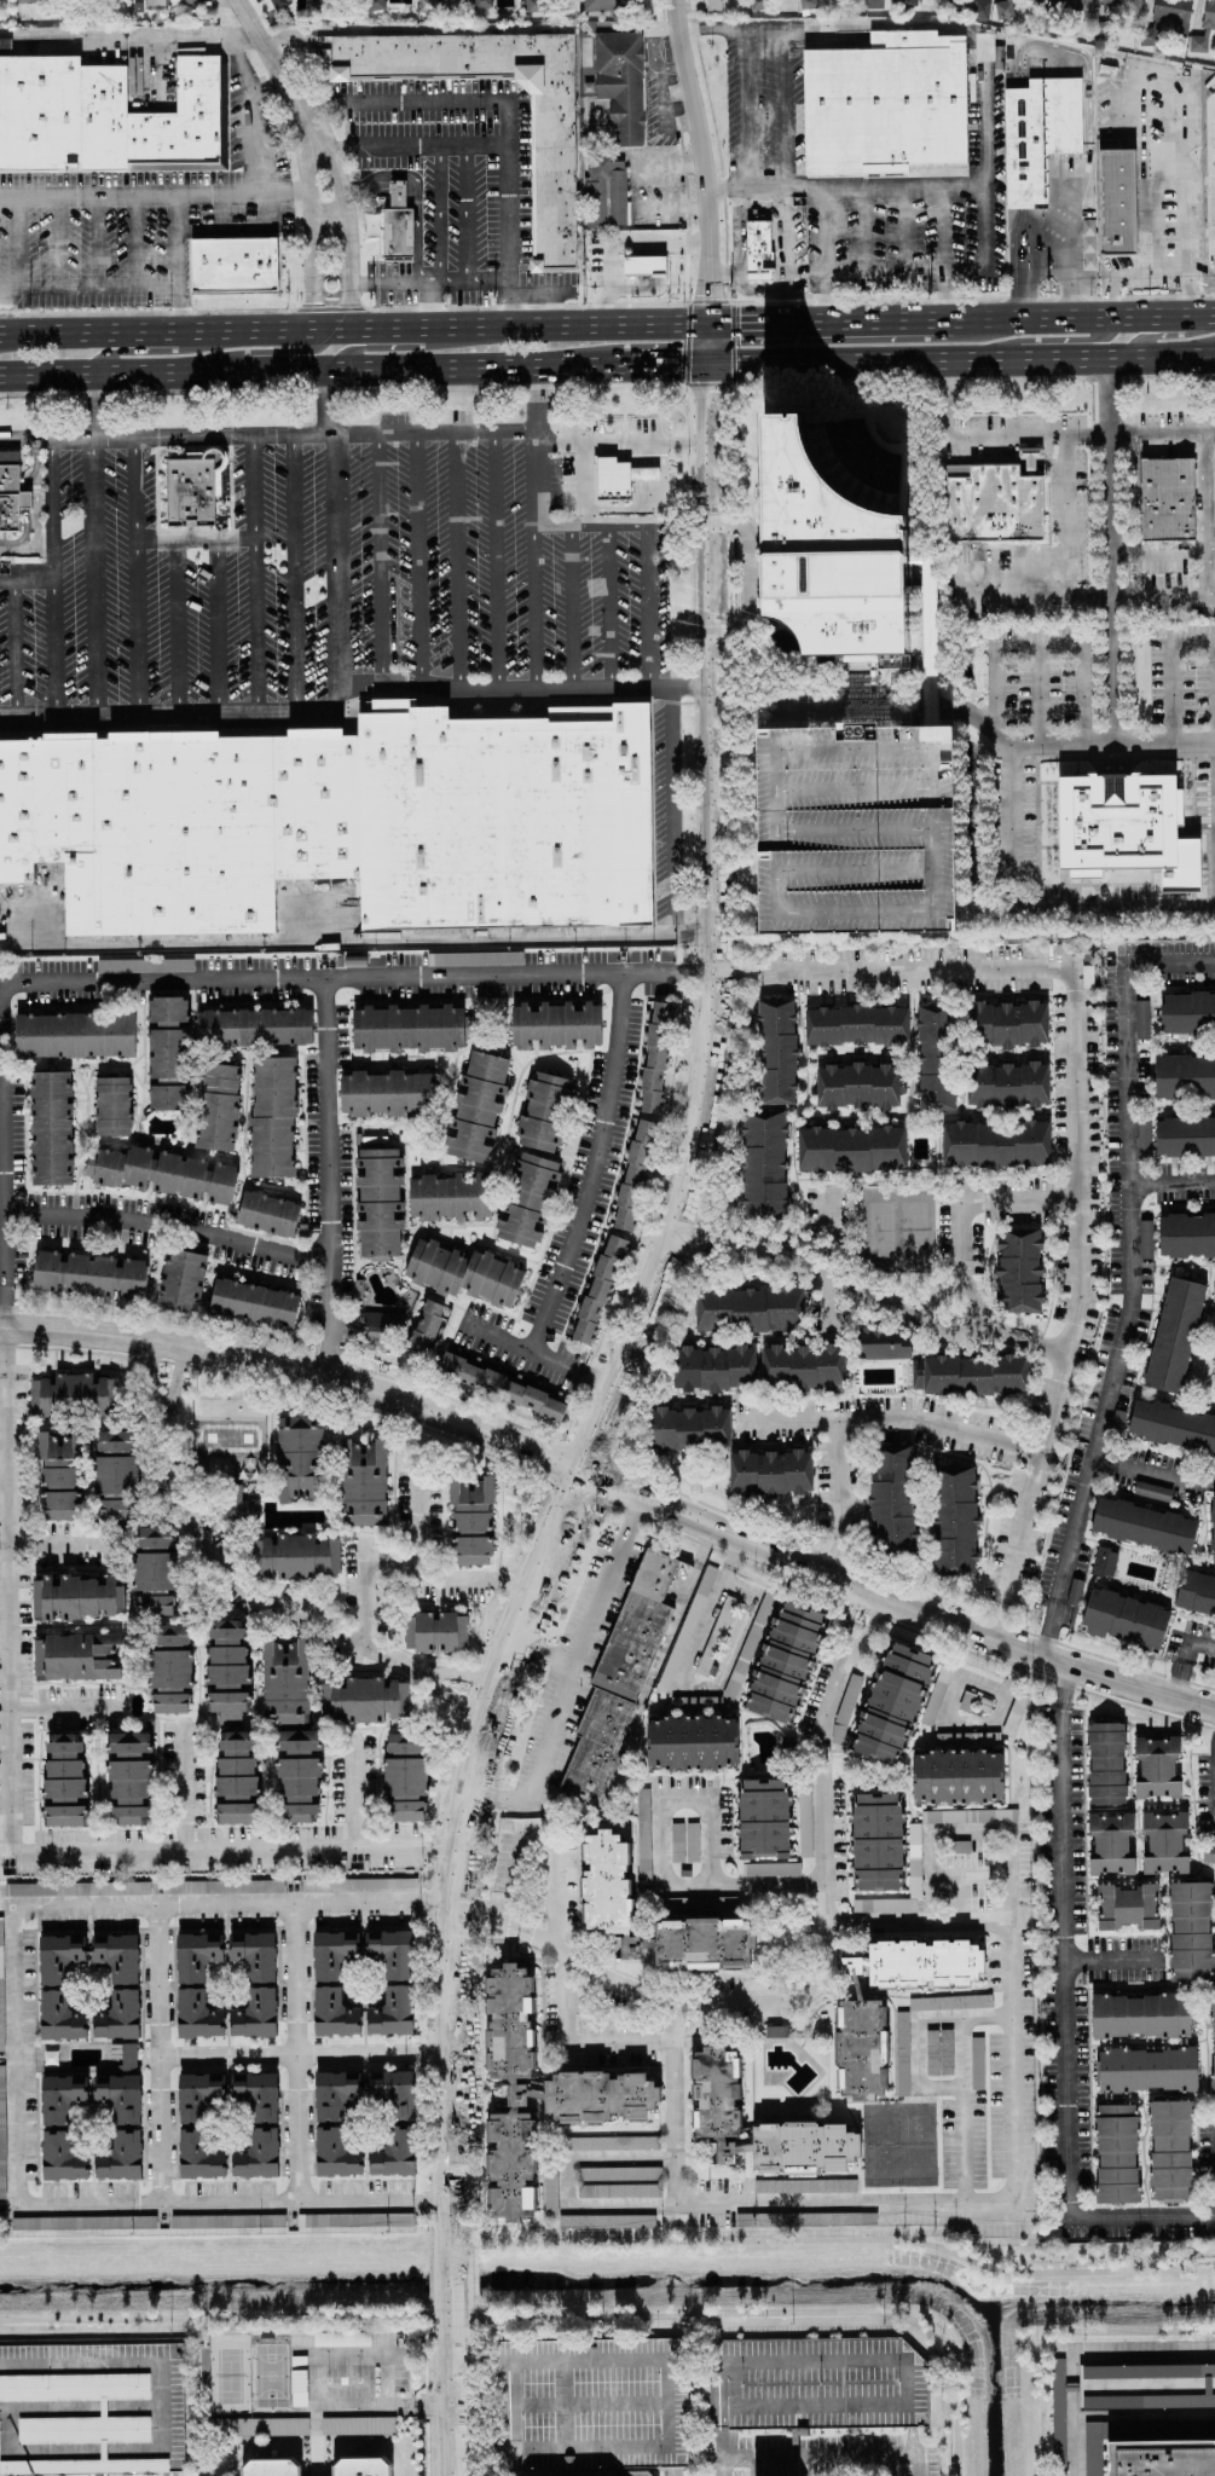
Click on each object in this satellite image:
building: (27, 0)
building: (457, 0)
building: (1032, 0)
building: (187, 1)
building: (274, 1)
building: (318, 4)
building: (374, 4)
building: (481, 4)
building: (806, 4)
building: (870, 4)
building: (1072, 4)
building: (1122, 4)
building: (426, 5)
building: (602, 5)
building: (711, 5)
building: (979, 8)
building: (1003, 8)
building: (1208, 13)
building: (1170, 15)
road: (739, 25)
road: (413, 29)
road: (129, 40)
road: (999, 41)
building: (1198, 41)
road: (277, 65)
road: (1147, 80)
building: (620, 82)
road: (1087, 85)
building: (885, 105)
road: (515, 109)
road: (797, 109)
building: (60, 114)
road: (253, 117)
building: (181, 121)
road: (695, 121)
building: (1038, 134)
road: (449, 141)
road: (490, 141)
road: (377, 143)
road: (746, 144)
road: (326, 161)
road: (308, 164)
road: (1126, 169)
road: (1151, 170)
building: (551, 175)
road: (1142, 180)
building: (607, 187)
road: (904, 189)
road: (727, 190)
building: (397, 192)
road: (415, 192)
road: (152, 195)
road: (1197, 197)
building: (1116, 198)
road: (758, 204)
road: (1075, 210)
road: (324, 212)
road: (434, 213)
road: (464, 213)
building: (371, 224)
road: (307, 228)
road: (822, 228)
road: (1046, 228)
road: (861, 230)
road: (901, 230)
road: (737, 231)
road: (938, 231)
building: (397, 232)
road: (780, 238)
road: (987, 238)
road: (96, 239)
road: (131, 241)
building: (1088, 243)
road: (619, 244)
building: (757, 249)
road: (345, 258)
road: (1182, 258)
road: (179, 264)
building: (231, 265)
building: (642, 265)
road: (1122, 270)
road: (802, 271)
road: (724, 273)
road: (381, 283)
road: (424, 284)
road: (475, 284)
road: (710, 284)
road: (89, 285)
road: (753, 290)
traffic signals: (710, 294)
road: (308, 295)
road: (943, 296)
road: (822, 297)
road: (517, 305)
road: (550, 305)
road: (433, 306)
road: (783, 306)
road: (1088, 318)
road: (835, 323)
traffic signals: (737, 325)
road: (354, 328)
road: (1145, 335)
road: (1055, 343)
road: (410, 345)
road: (710, 345)
road: (131, 351)
road: (1209, 353)
road: (268, 355)
road: (962, 359)
road: (665, 364)
traffic signals: (678, 364)
road: (309, 368)
traffic signals: (711, 395)
road: (92, 406)
road: (1043, 434)
road: (265, 436)
road: (557, 440)
road: (649, 440)
building: (858, 457)
road: (534, 468)
building: (611, 476)
road: (588, 484)
building: (191, 490)
building: (8, 497)
building: (24, 498)
building: (1165, 498)
road: (24, 501)
building: (994, 504)
road: (34, 511)
road: (1204, 515)
road: (598, 527)
road: (631, 528)
road: (332, 538)
road: (1065, 538)
road: (195, 539)
road: (27, 551)
road: (1110, 551)
building: (837, 553)
road: (1157, 555)
road: (1209, 555)
road: (497, 560)
road: (532, 560)
road: (420, 561)
road: (456, 561)
road: (380, 562)
road: (297, 573)
road: (256, 574)
road: (133, 575)
road: (94, 577)
road: (748, 577)
road: (53, 578)
road: (27, 579)
road: (1022, 597)
road: (1158, 597)
road: (1209, 597)
road: (573, 607)
road: (612, 607)
road: (653, 607)
road: (177, 625)
road: (216, 625)
road: (15, 647)
building: (928, 655)
road: (931, 667)
road: (1175, 670)
road: (1000, 682)
road: (523, 688)
road: (1037, 693)
road: (823, 710)
road: (168, 712)
road: (1112, 746)
road: (1214, 798)
building: (314, 804)
road: (695, 808)
road: (670, 810)
building: (504, 817)
building: (143, 828)
building: (856, 828)
parking lot: (856, 828)
building: (1124, 828)
road: (1113, 910)
road: (712, 927)
road: (355, 939)
building: (473, 958)
building: (144, 965)
road: (692, 972)
road: (335, 979)
building: (1190, 1016)
building: (1141, 1018)
building: (1007, 1024)
building: (556, 1025)
building: (856, 1025)
building: (254, 1028)
building: (406, 1028)
building: (74, 1035)
building: (775, 1052)
building: (167, 1053)
building: (654, 1057)
building: (933, 1061)
building: (1186, 1081)
building: (1006, 1084)
building: (857, 1086)
building: (386, 1093)
building: (111, 1106)
building: (216, 1106)
building: (476, 1106)
building: (543, 1111)
building: (271, 1117)
building: (50, 1128)
road: (1072, 1128)
building: (1185, 1136)
building: (1142, 1138)
road: (326, 1140)
building: (995, 1144)
building: (850, 1149)
building: (763, 1165)
road: (590, 1167)
road: (1127, 1169)
building: (166, 1173)
building: (633, 1174)
road: (1171, 1182)
building: (450, 1197)
building: (526, 1199)
road: (973, 1201)
building: (267, 1214)
road: (169, 1225)
park: (896, 1230)
road: (826, 1232)
building: (1186, 1234)
building: (1145, 1239)
road: (795, 1267)
building: (1018, 1271)
building: (463, 1273)
building: (89, 1274)
building: (181, 1279)
building: (597, 1289)
building: (253, 1302)
road: (828, 1302)
road: (978, 1306)
building: (748, 1309)
building: (1214, 1319)
building: (424, 1329)
building: (381, 1330)
building: (1176, 1335)
road: (326, 1336)
road: (1023, 1338)
building: (880, 1344)
road: (516, 1350)
road: (297, 1366)
building: (803, 1366)
building: (713, 1369)
road: (149, 1375)
building: (970, 1375)
road: (173, 1379)
road: (597, 1384)
building: (501, 1387)
building: (85, 1395)
building: (40, 1396)
road: (625, 1412)
road: (887, 1419)
building: (1171, 1427)
building: (688, 1428)
road: (536, 1433)
building: (300, 1458)
road: (1151, 1469)
traffic signals: (580, 1471)
building: (769, 1473)
building: (115, 1475)
building: (59, 1476)
building: (363, 1482)
building: (1151, 1491)
road: (837, 1498)
building: (891, 1498)
building: (237, 1506)
road: (416, 1517)
building: (470, 1520)
building: (953, 1521)
road: (1071, 1525)
building: (1142, 1526)
building: (1213, 1528)
road: (57, 1543)
building: (294, 1556)
road: (728, 1558)
building: (1104, 1562)
road: (389, 1566)
building: (154, 1570)
road: (417, 1574)
road: (473, 1583)
road: (239, 1587)
road: (363, 1593)
building: (1196, 1593)
building: (76, 1597)
road: (2, 1598)
road: (893, 1599)
road: (847, 1601)
road: (870, 1609)
road: (498, 1619)
building: (1123, 1619)
road: (537, 1622)
road: (1045, 1624)
building: (685, 1629)
building: (418, 1632)
road: (840, 1633)
building: (714, 1635)
road: (856, 1638)
road: (1191, 1643)
road: (538, 1651)
building: (74, 1655)
building: (783, 1661)
building: (168, 1667)
building: (227, 1672)
road: (563, 1673)
road: (459, 1674)
road: (1175, 1676)
road: (678, 1678)
building: (284, 1682)
building: (619, 1682)
road: (1061, 1683)
building: (936, 1693)
road: (451, 1696)
building: (363, 1700)
building: (694, 1702)
building: (892, 1703)
road: (59, 1710)
road: (956, 1723)
building: (966, 1739)
building: (692, 1742)
building: (1105, 1763)
building: (1157, 1768)
building: (297, 1772)
building: (129, 1775)
building: (404, 1776)
building: (956, 1776)
building: (236, 1778)
building: (64, 1782)
road: (179, 1784)
road: (351, 1791)
building: (968, 1816)
building: (763, 1818)
building: (804, 1823)
building: (642, 1835)
road: (967, 1835)
building: (676, 1841)
building: (690, 1841)
building: (876, 1841)
building: (1110, 1844)
building: (1163, 1844)
building: (957, 1846)
road: (232, 1849)
road: (549, 1850)
road: (456, 1852)
building: (1208, 1852)
building: (913, 1861)
building: (770, 1869)
road: (1009, 1878)
road: (977, 1879)
road: (926, 1880)
building: (607, 1882)
building: (358, 1885)
road: (764, 1885)
building: (225, 1886)
road: (659, 1886)
building: (76, 1888)
building: (687, 1903)
road: (233, 1905)
building: (1127, 1905)
road: (487, 1907)
road: (914, 1923)
road: (519, 1930)
building: (1190, 1931)
road: (482, 1932)
road: (519, 1932)
road: (543, 1943)
building: (393, 1954)
building: (334, 1955)
building: (196, 1956)
building: (256, 1956)
building: (59, 1957)
building: (117, 1957)
road: (1111, 1957)
parking lot: (1124, 1959)
building: (0, 1962)
building: (918, 1963)
road: (615, 1982)
road: (811, 1990)
building: (945, 2002)
building: (393, 2013)
building: (197, 2015)
building: (336, 2015)
building: (1139, 2015)
building: (256, 2017)
road: (962, 2018)
building: (57, 2019)
building: (120, 2019)
building: (776, 2031)
road: (1066, 2031)
road: (574, 2041)
building: (1213, 2042)
building: (861, 2048)
road: (302, 2050)
building: (938, 2050)
road: (289, 2053)
building: (901, 2053)
road: (915, 2053)
building: (123, 2054)
road: (156, 2054)
road: (15, 2056)
building: (976, 2063)
building: (1146, 2069)
road: (938, 2087)
building: (600, 2092)
building: (336, 2093)
building: (395, 2094)
building: (199, 2095)
building: (261, 2095)
building: (120, 2096)
building: (63, 2098)
building: (713, 2104)
road: (960, 2110)
building: (612, 2142)
building: (1169, 2150)
building: (1116, 2153)
building: (336, 2154)
building: (259, 2156)
building: (397, 2156)
building: (199, 2158)
building: (63, 2159)
building: (121, 2160)
building: (618, 2173)
building: (802, 2185)
building: (619, 2189)
building: (549, 2193)
road: (231, 2202)
road: (850, 2203)
building: (226, 2221)
building: (602, 2221)
building: (82, 2222)
road: (832, 2244)
road: (449, 2281)
road: (545, 2319)
road: (1049, 2329)
building: (341, 2338)
parking lot: (337, 2339)
road: (296, 2356)
road: (1141, 2359)
road: (509, 2364)
road: (82, 2365)
road: (714, 2365)
parking lot: (399, 2367)
park: (228, 2376)
park: (270, 2376)
building: (297, 2380)
parking lot: (331, 2380)
building: (1208, 2385)
road: (1141, 2387)
road: (451, 2391)
road: (418, 2403)
road: (795, 2405)
road: (82, 2408)
building: (102, 2408)
building: (1058, 2413)
road: (1069, 2417)
road: (1141, 2418)
road: (166, 2419)
building: (357, 2425)
building: (260, 2426)
road: (64, 2451)
building: (1161, 2458)
road: (666, 2461)
building: (82, 2465)
building: (360, 2465)
road: (914, 2465)
building: (270, 2466)
road: (718, 2466)
building: (638, 2474)

